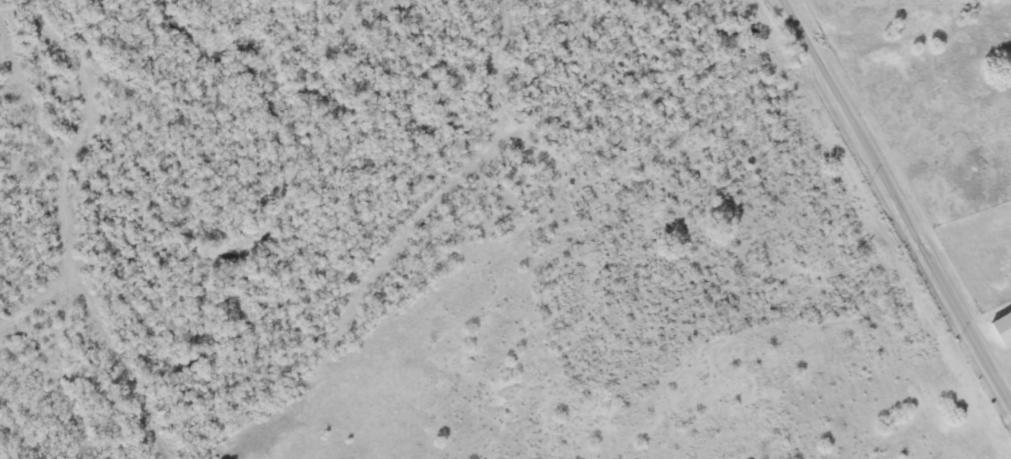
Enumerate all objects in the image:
road: (902, 193)
building: (1002, 327)

